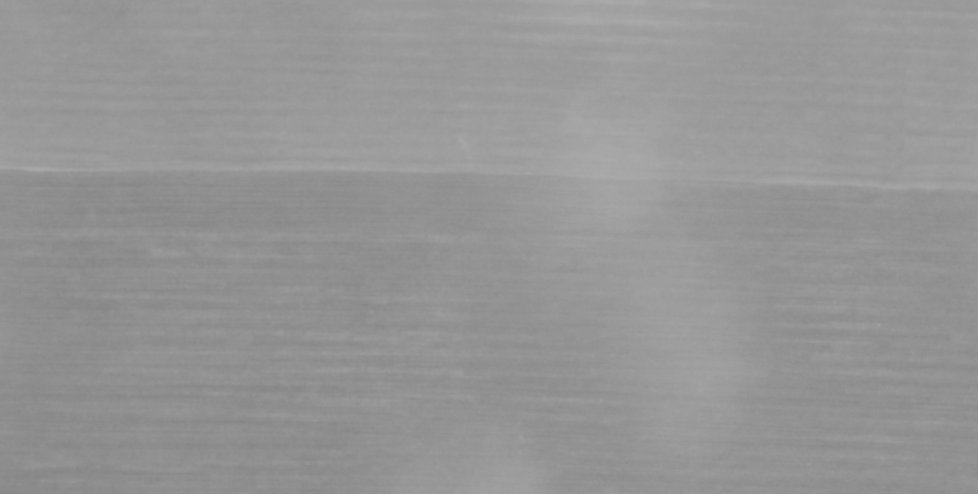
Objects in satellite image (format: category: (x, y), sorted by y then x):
crop: (489, 247)

